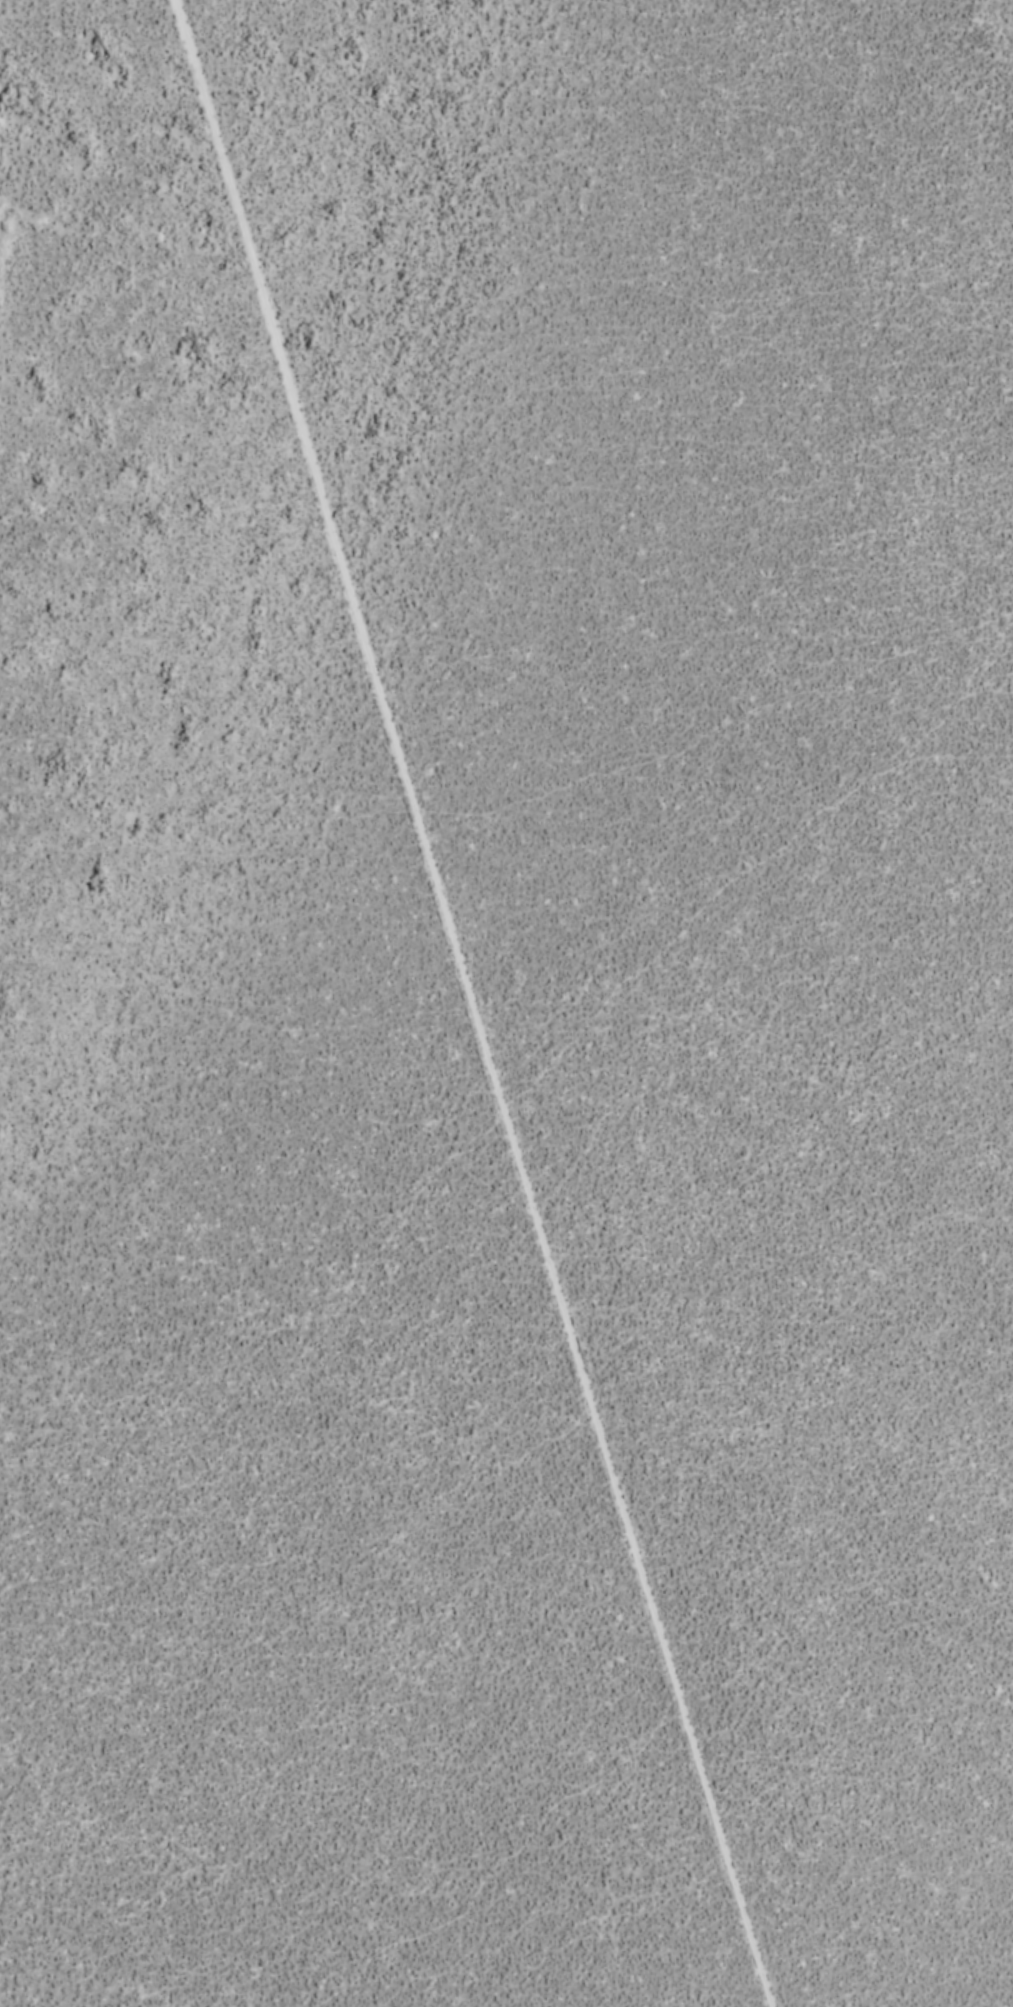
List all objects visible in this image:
road: (473, 1003)

